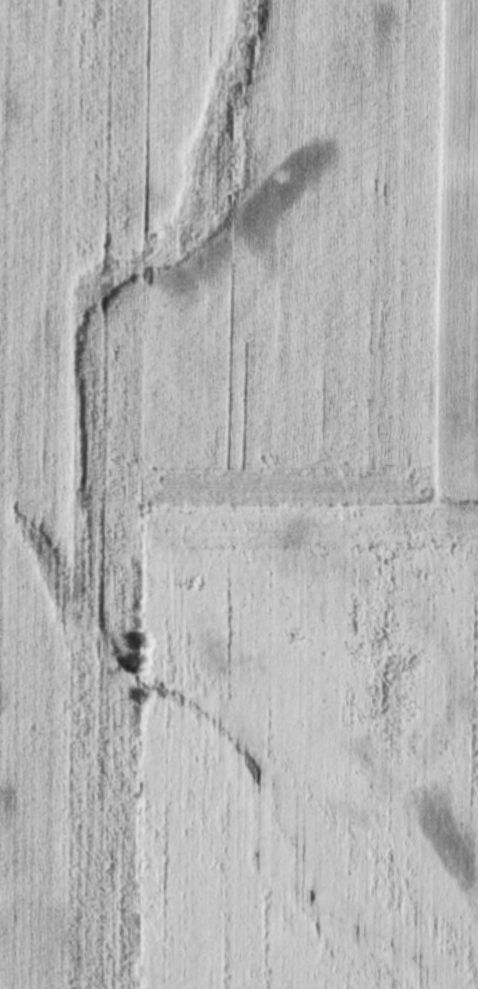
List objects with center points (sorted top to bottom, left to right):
crop: (239, 494)

